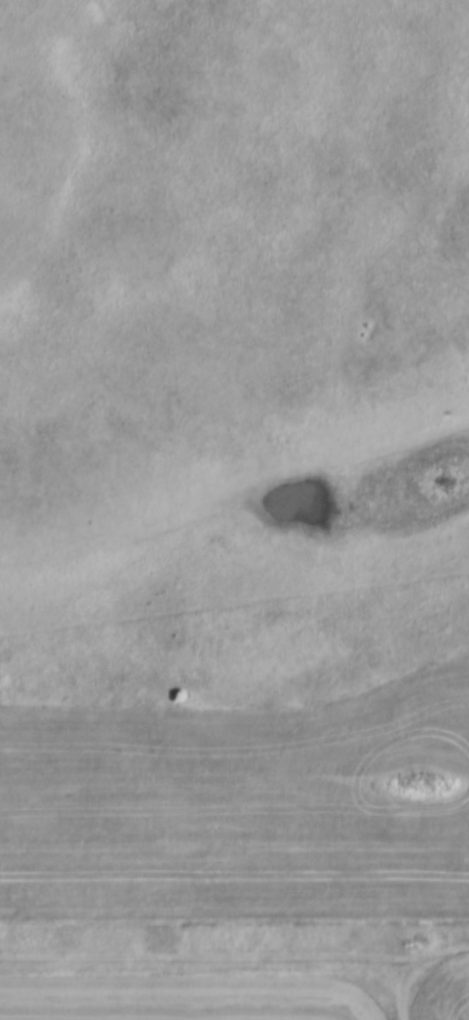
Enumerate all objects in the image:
road: (234, 953)

